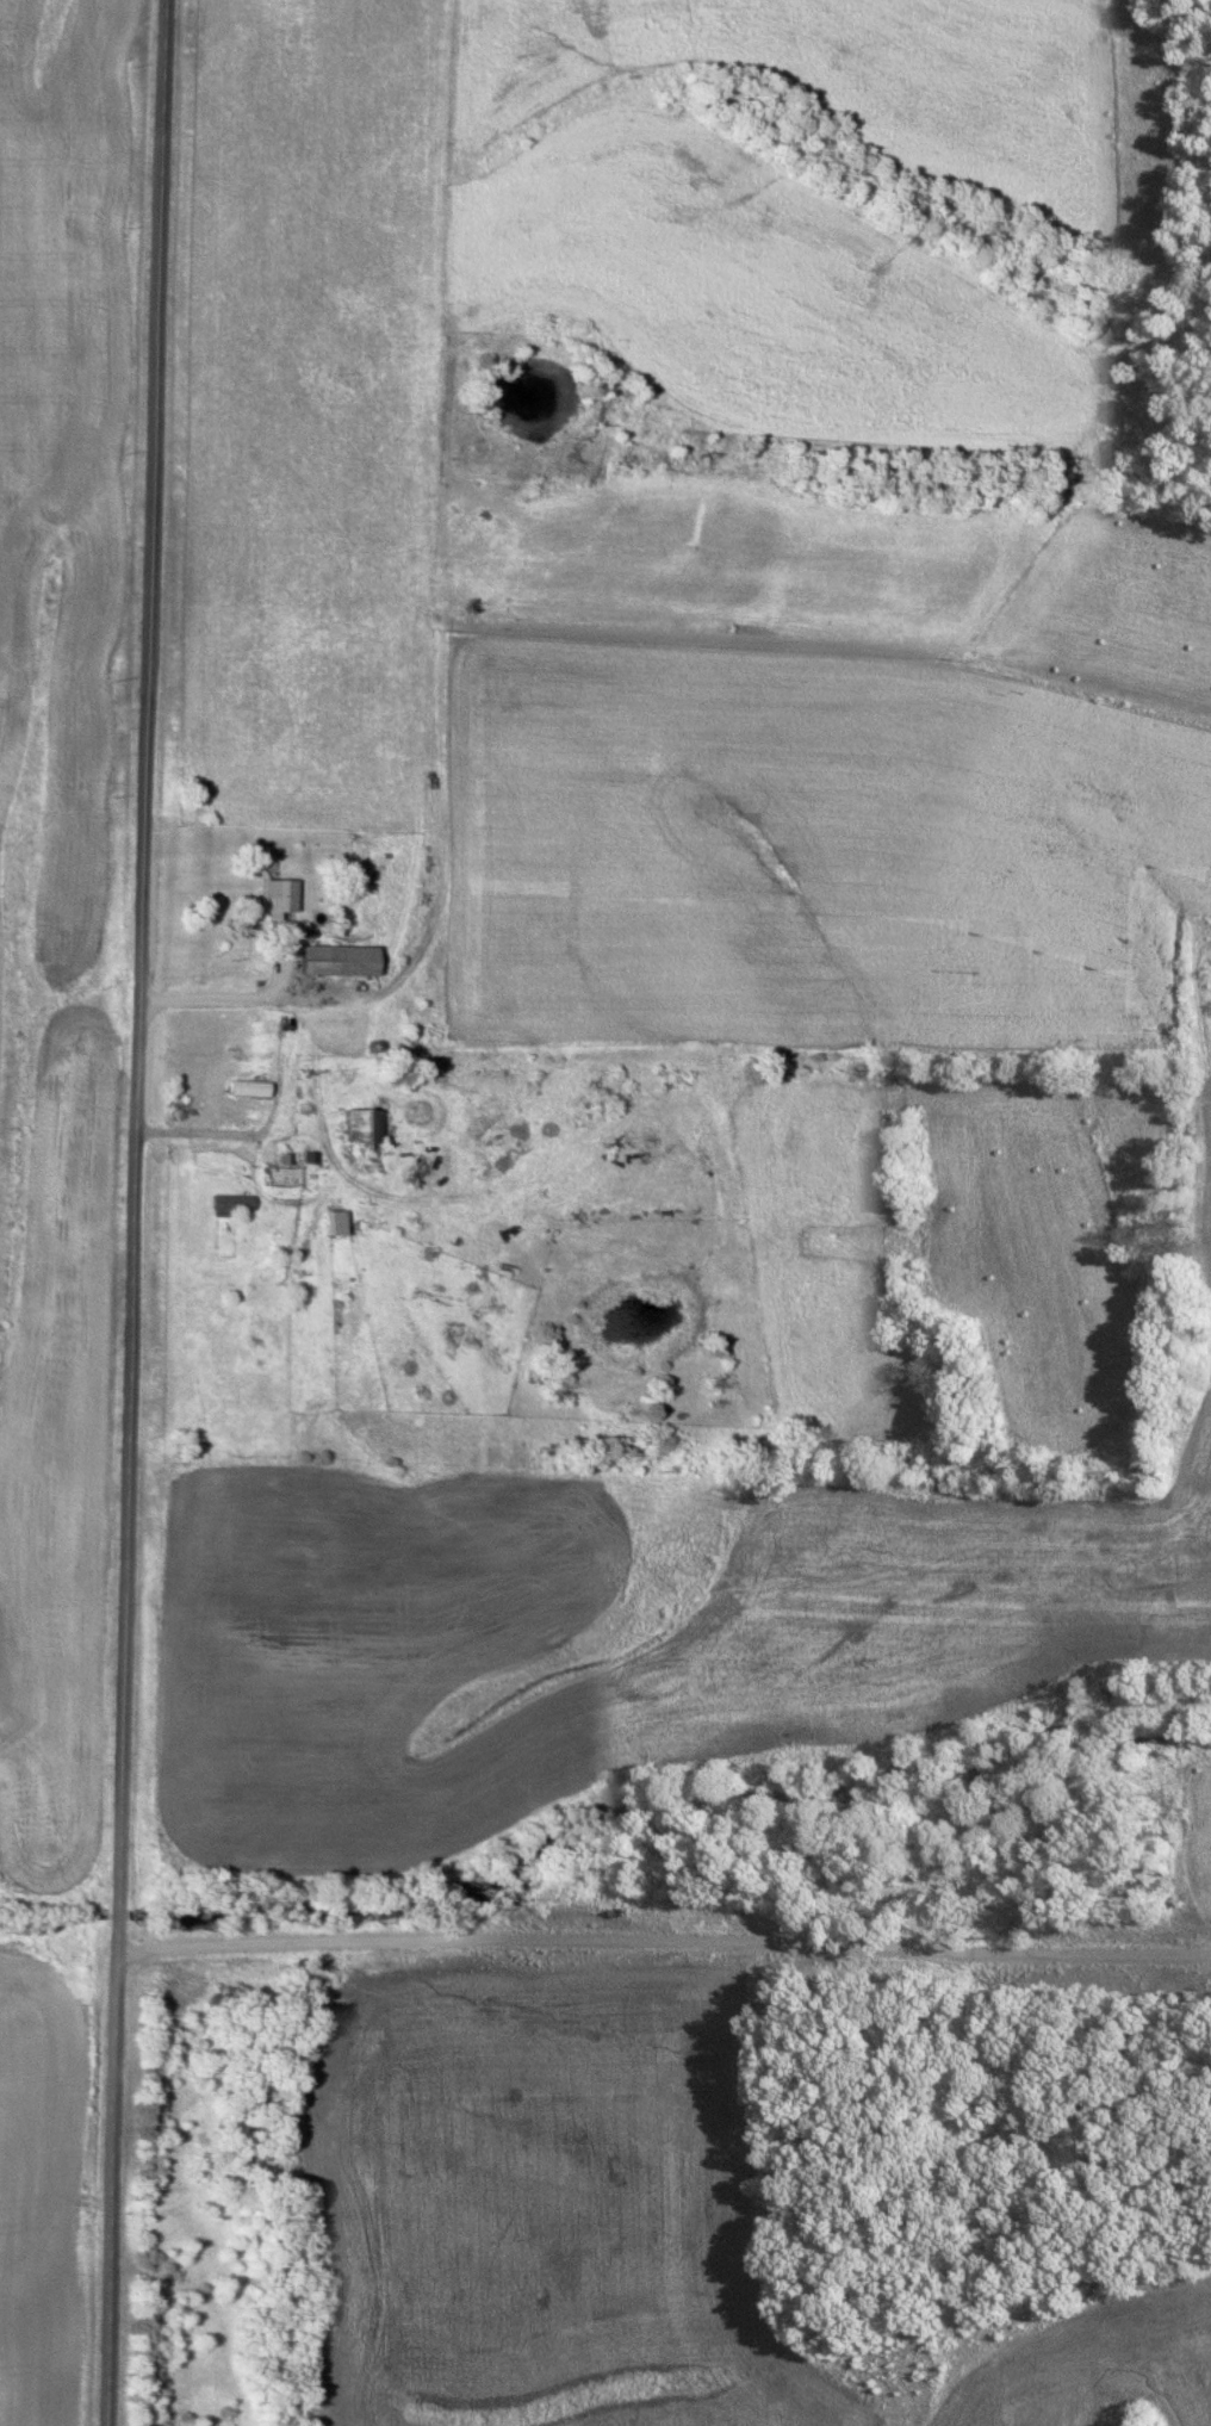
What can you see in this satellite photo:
building: (282, 894)
building: (340, 960)
building: (250, 1087)
building: (362, 1131)
building: (232, 1204)
road: (133, 1212)
building: (226, 1236)
road: (662, 1941)

